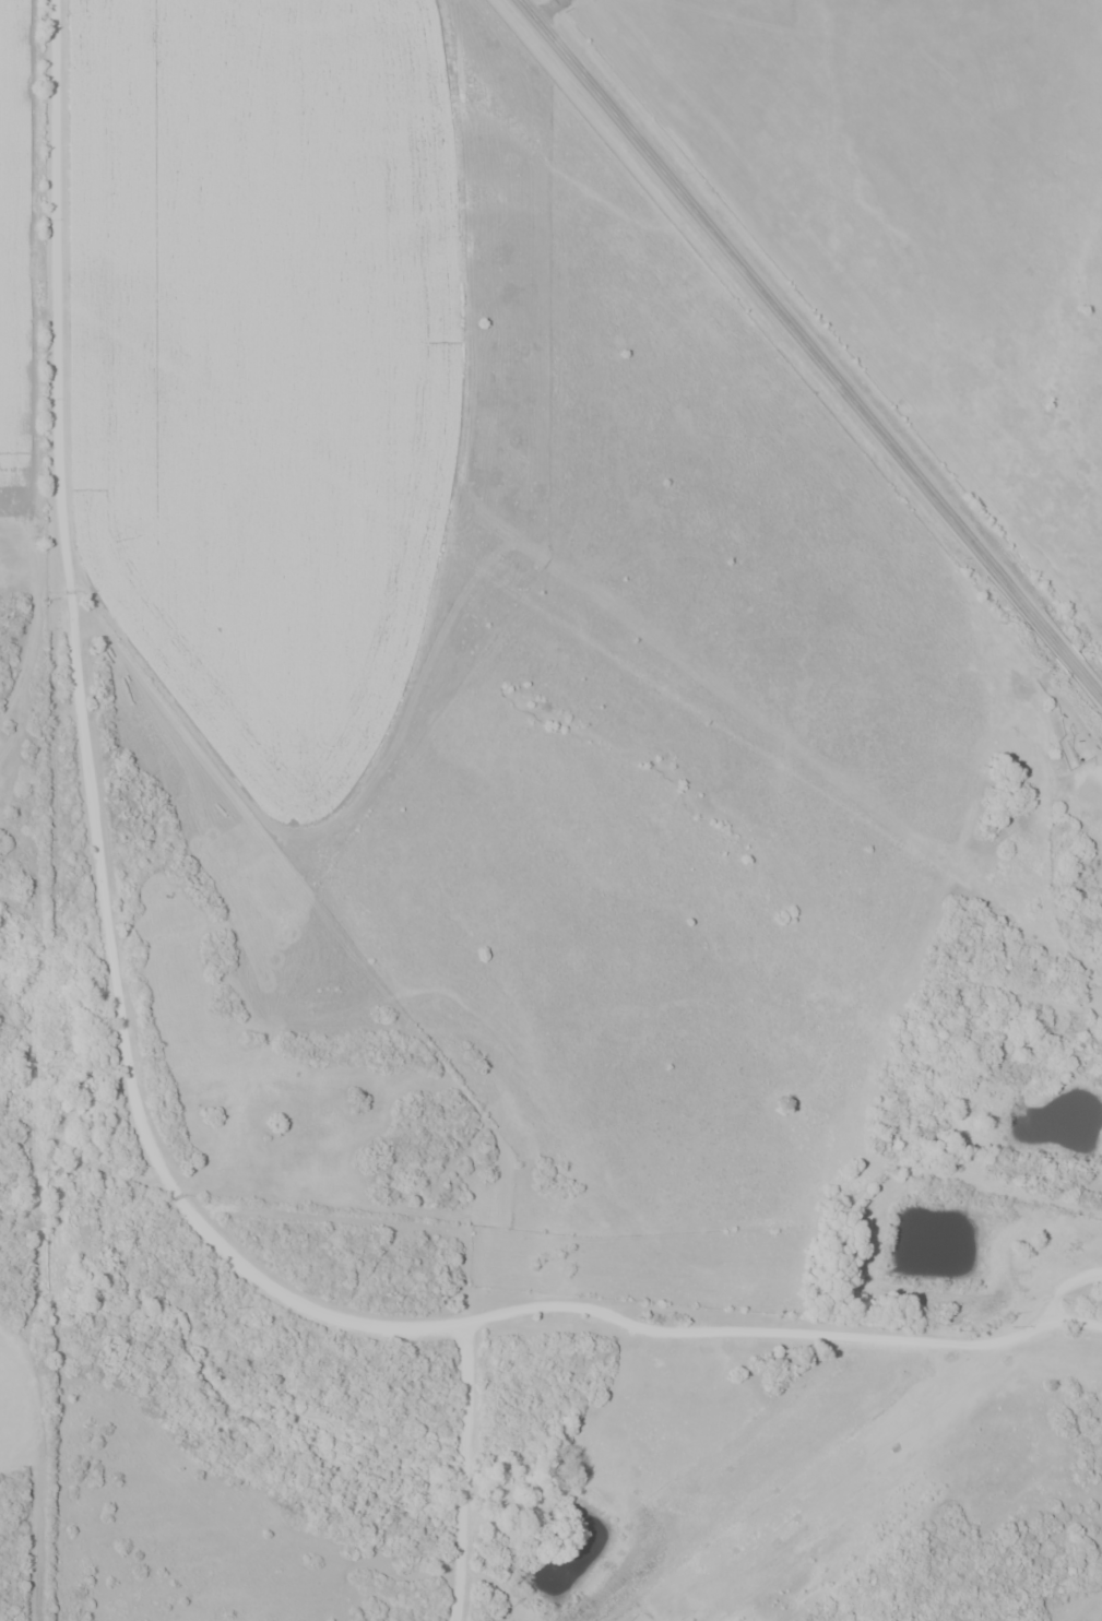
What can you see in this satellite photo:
road: (810, 347)
road: (1071, 723)
road: (94, 767)
road: (1067, 1281)
road: (779, 1337)
road: (464, 1474)

